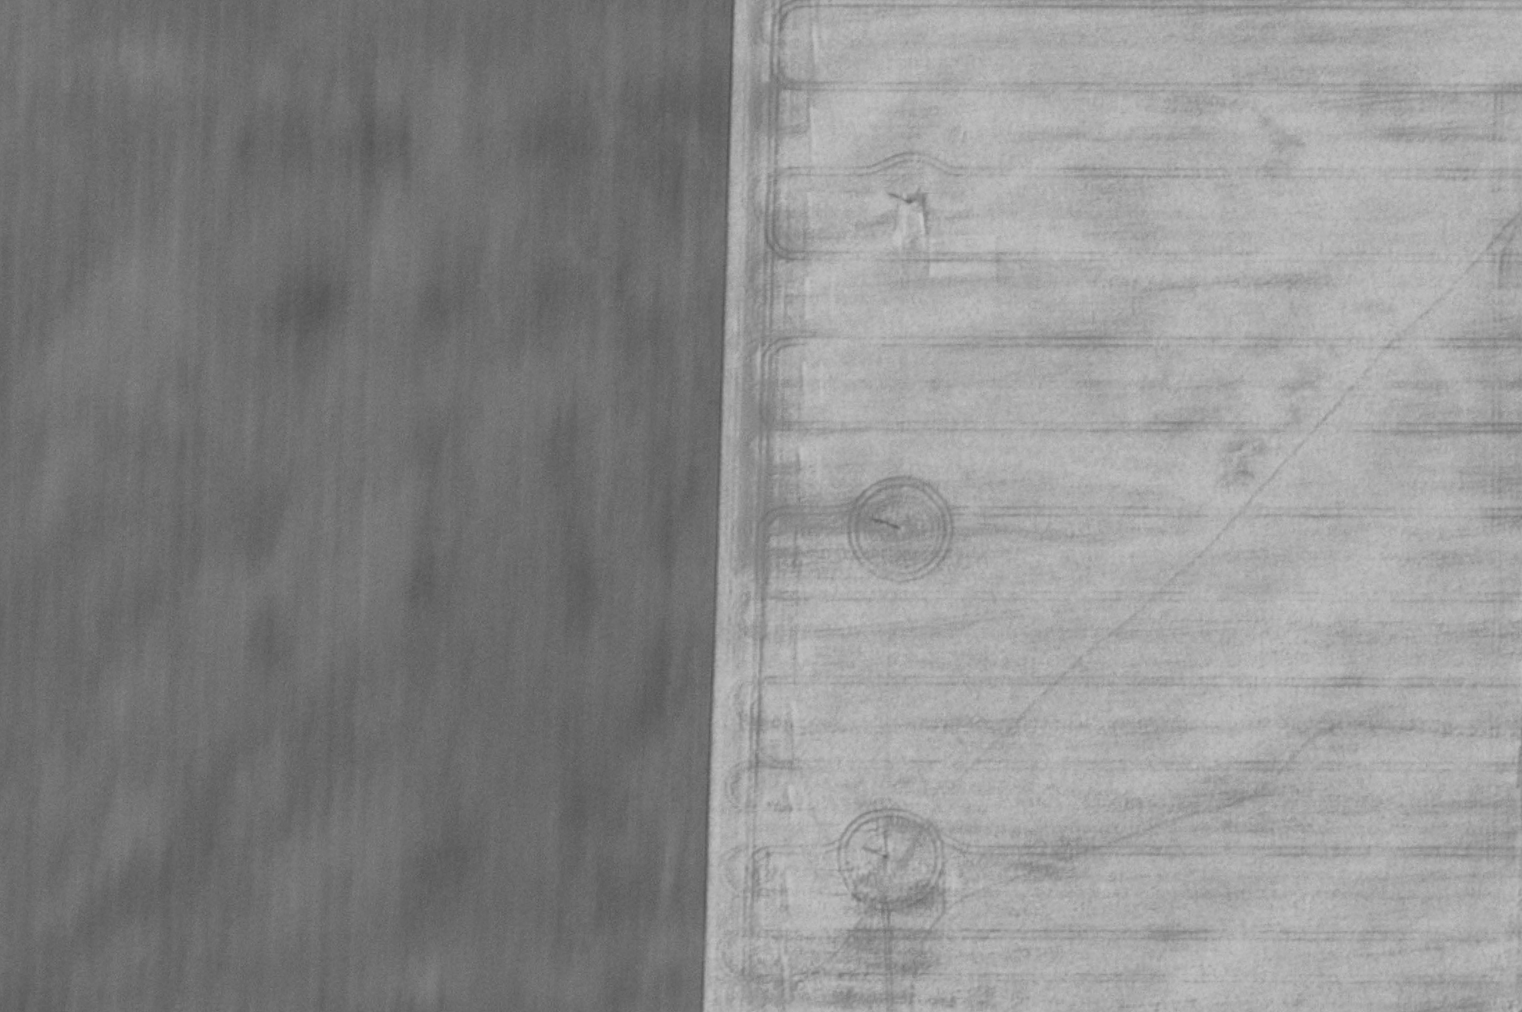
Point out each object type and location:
power tower: (911, 203)
power tower: (899, 526)
power tower: (889, 856)

